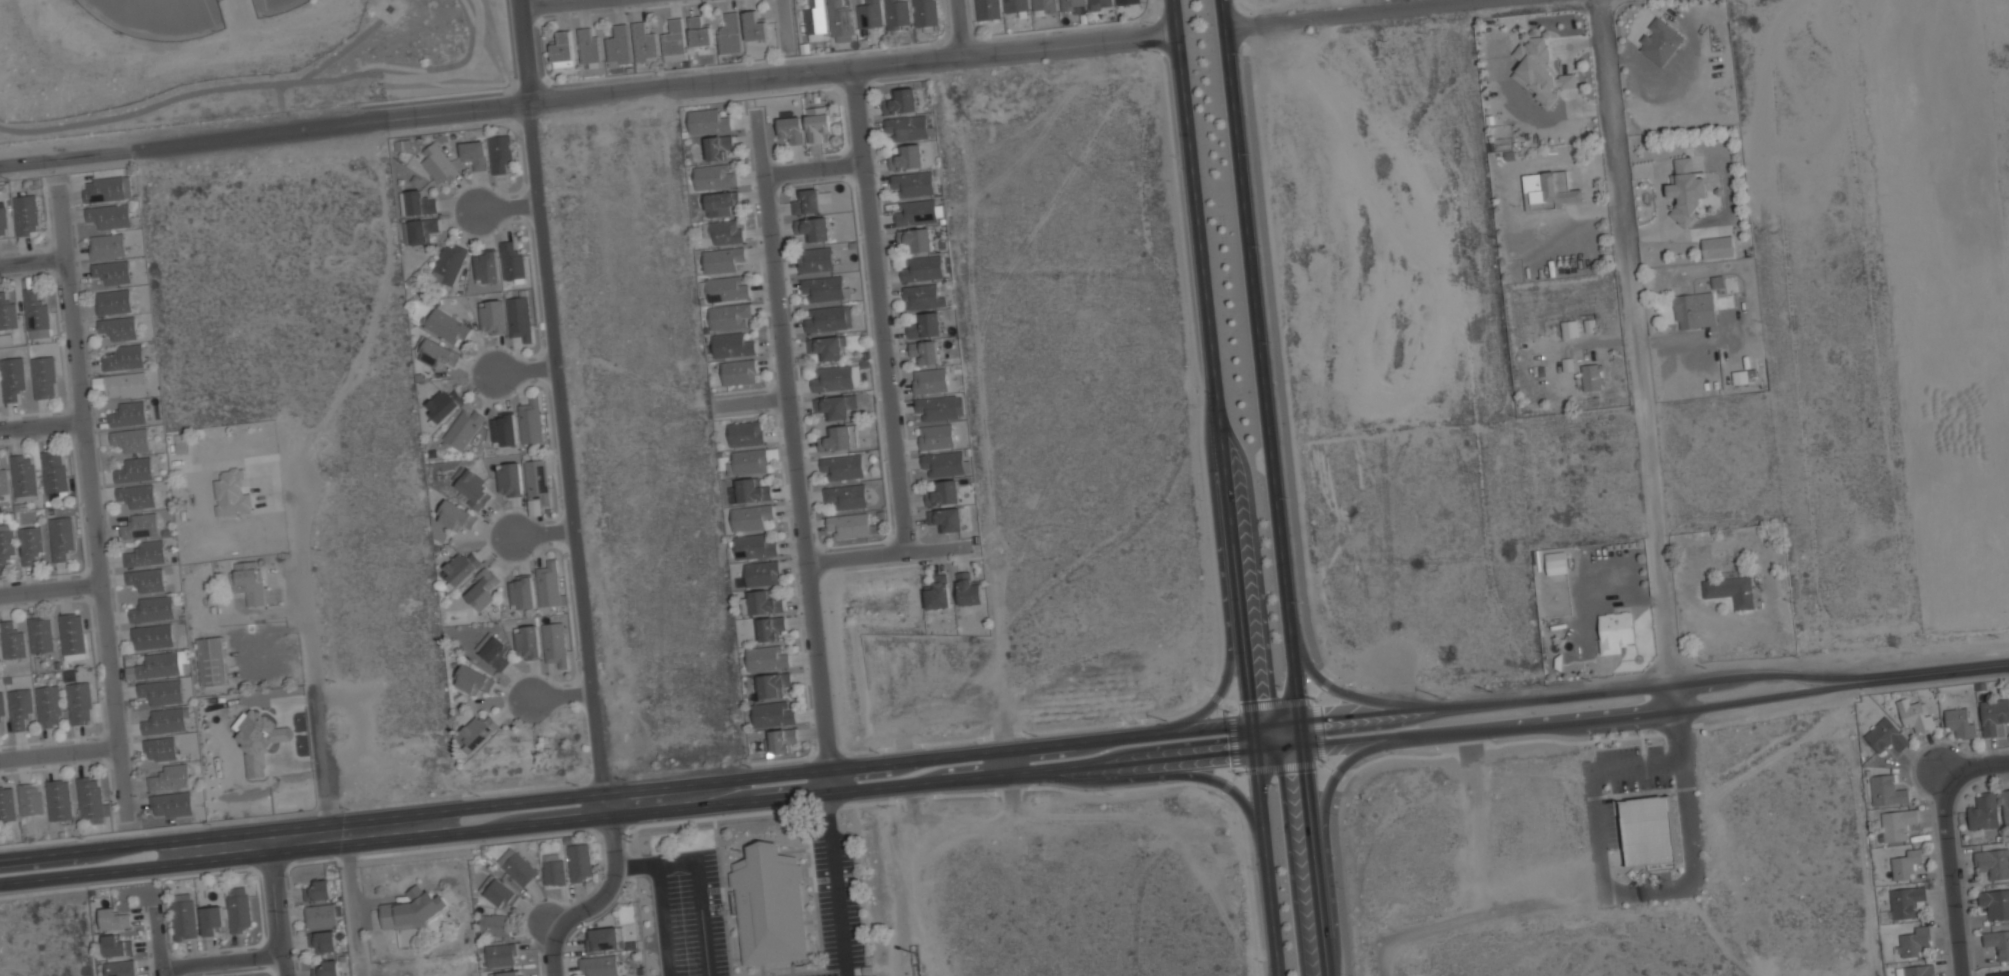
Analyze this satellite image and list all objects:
building: (1127, 1)
road: (565, 4)
building: (1100, 4)
building: (1015, 5)
building: (1044, 5)
building: (1071, 5)
park: (274, 6)
building: (988, 9)
road: (789, 13)
building: (925, 13)
building: (868, 14)
building: (897, 14)
road: (1360, 14)
park: (158, 15)
building: (815, 18)
building: (841, 20)
building: (755, 25)
road: (963, 27)
building: (699, 31)
building: (730, 33)
building: (674, 40)
building: (1660, 40)
building: (644, 43)
building: (589, 46)
building: (618, 46)
building: (562, 49)
road: (525, 51)
park: (230, 52)
building: (1540, 69)
road: (268, 85)
road: (587, 96)
building: (902, 100)
building: (707, 121)
building: (817, 121)
building: (791, 127)
building: (906, 127)
building: (716, 145)
building: (474, 152)
building: (500, 153)
building: (907, 156)
building: (438, 163)
road: (814, 169)
building: (715, 176)
building: (913, 183)
building: (103, 188)
building: (1550, 189)
building: (1687, 189)
building: (807, 201)
building: (720, 202)
building: (419, 203)
road: (509, 207)
building: (916, 212)
building: (26, 214)
building: (109, 216)
building: (3, 222)
building: (813, 227)
building: (422, 230)
building: (726, 231)
building: (916, 238)
building: (107, 246)
building: (1718, 246)
building: (721, 258)
building: (815, 258)
building: (511, 259)
building: (449, 263)
road: (35, 265)
building: (485, 267)
building: (921, 267)
building: (113, 273)
building: (1717, 281)
building: (823, 287)
building: (726, 288)
building: (922, 296)
building: (113, 302)
road: (880, 308)
building: (1695, 309)
building: (35, 312)
building: (7, 313)
building: (729, 315)
building: (492, 316)
building: (519, 317)
building: (828, 318)
building: (446, 324)
building: (925, 324)
building: (1570, 327)
building: (117, 329)
building: (731, 344)
building: (826, 347)
building: (924, 350)
building: (437, 354)
road: (1630, 356)
building: (125, 358)
road: (529, 371)
building: (739, 371)
building: (12, 376)
building: (43, 376)
building: (1592, 376)
building: (1740, 376)
building: (834, 377)
building: (930, 381)
building: (124, 385)
building: (443, 404)
building: (835, 405)
building: (939, 408)
building: (127, 414)
building: (531, 421)
road: (44, 427)
building: (463, 428)
building: (503, 431)
building: (745, 432)
building: (935, 436)
building: (839, 437)
building: (131, 439)
road: (569, 460)
building: (748, 461)
road: (795, 462)
building: (945, 463)
building: (843, 465)
building: (134, 469)
building: (54, 474)
building: (23, 476)
building: (4, 480)
building: (509, 480)
building: (537, 481)
road: (1274, 487)
road: (1224, 488)
building: (473, 489)
building: (748, 489)
building: (944, 492)
building: (231, 493)
building: (136, 495)
building: (846, 495)
road: (1292, 497)
road: (96, 504)
building: (455, 515)
building: (750, 516)
building: (946, 518)
building: (848, 524)
building: (140, 525)
road: (546, 534)
building: (60, 536)
building: (29, 544)
building: (5, 545)
building: (753, 545)
road: (893, 552)
building: (145, 553)
building: (1556, 562)
building: (460, 567)
building: (761, 572)
building: (146, 579)
building: (249, 580)
building: (548, 583)
building: (483, 588)
road: (52, 589)
building: (968, 589)
road: (1225, 589)
building: (1730, 589)
building: (522, 591)
building: (937, 592)
building: (761, 602)
building: (152, 608)
building: (769, 627)
building: (1615, 630)
building: (72, 635)
building: (40, 636)
building: (152, 636)
building: (12, 641)
building: (527, 641)
building: (555, 643)
road: (311, 646)
building: (494, 651)
building: (766, 657)
building: (211, 660)
building: (163, 664)
road: (1966, 667)
building: (475, 680)
building: (772, 683)
building: (161, 692)
road: (1344, 693)
road: (565, 697)
building: (79, 703)
building: (48, 706)
building: (19, 709)
building: (772, 713)
building: (1915, 715)
building: (1994, 715)
building: (1, 717)
building: (165, 720)
traffic signals: (1301, 722)
building: (1960, 722)
traffic signals: (1252, 726)
building: (478, 731)
building: (1885, 735)
building: (781, 739)
building: (258, 740)
traffic signals: (1304, 747)
building: (159, 748)
road: (61, 751)
traffic signals: (1255, 751)
road: (960, 755)
road: (1008, 764)
road: (1973, 765)
building: (170, 776)
road: (1155, 779)
road: (963, 781)
building: (1887, 790)
building: (30, 801)
building: (58, 801)
building: (91, 801)
building: (171, 803)
building: (6, 805)
building: (2006, 805)
building: (1984, 811)
building: (1896, 824)
building: (1648, 830)
road: (1330, 838)
building: (579, 862)
building: (1993, 862)
building: (1905, 864)
building: (519, 869)
building: (553, 870)
road: (1949, 872)
road: (698, 875)
road: (837, 886)
road: (605, 887)
building: (318, 890)
building: (501, 894)
road: (353, 896)
building: (1904, 902)
building: (1995, 902)
road: (276, 903)
building: (769, 904)
parking lot: (837, 906)
building: (238, 908)
building: (416, 908)
parking lot: (689, 913)
building: (322, 916)
building: (113, 918)
building: (183, 919)
road: (662, 919)
building: (211, 920)
building: (494, 925)
building: (605, 938)
building: (1914, 941)
building: (323, 942)
building: (1997, 943)
building: (116, 945)
road: (157, 945)
road: (553, 952)
building: (501, 954)
road: (221, 964)
building: (599, 965)
building: (120, 967)
building: (326, 969)
building: (1915, 970)
building: (508, 973)
building: (1998, 974)

